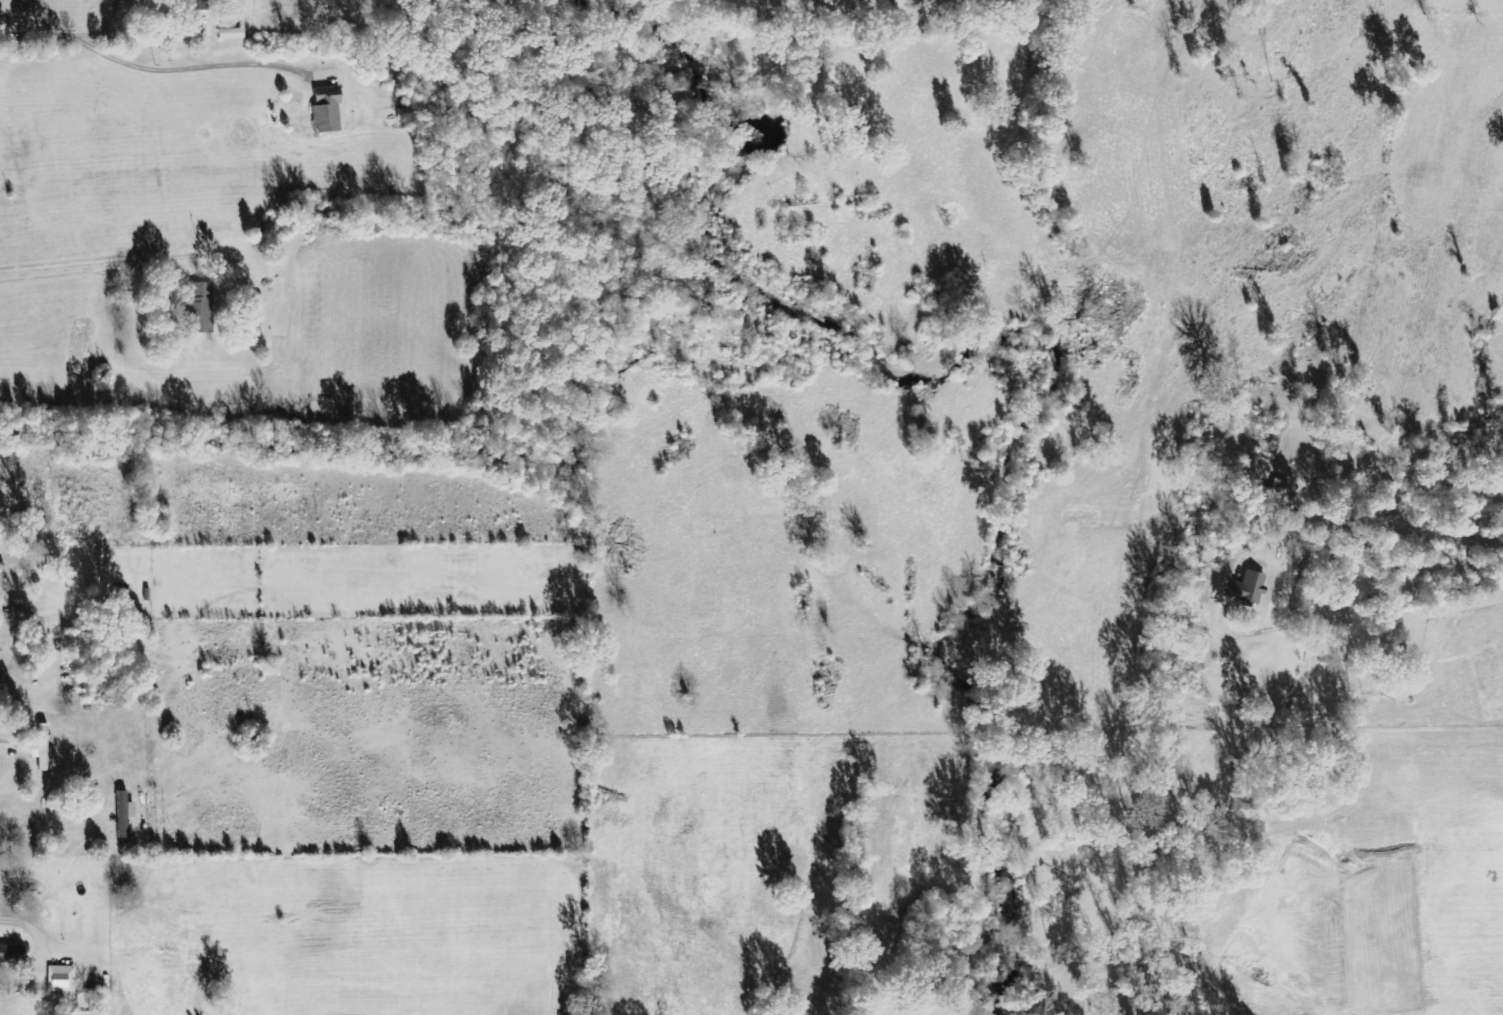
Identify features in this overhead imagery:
building: (200, 5)
road: (100, 30)
building: (233, 34)
building: (329, 111)
road: (100, 265)
building: (202, 308)
building: (1218, 580)
building: (1247, 587)
building: (125, 814)
building: (12, 953)
building: (62, 979)

